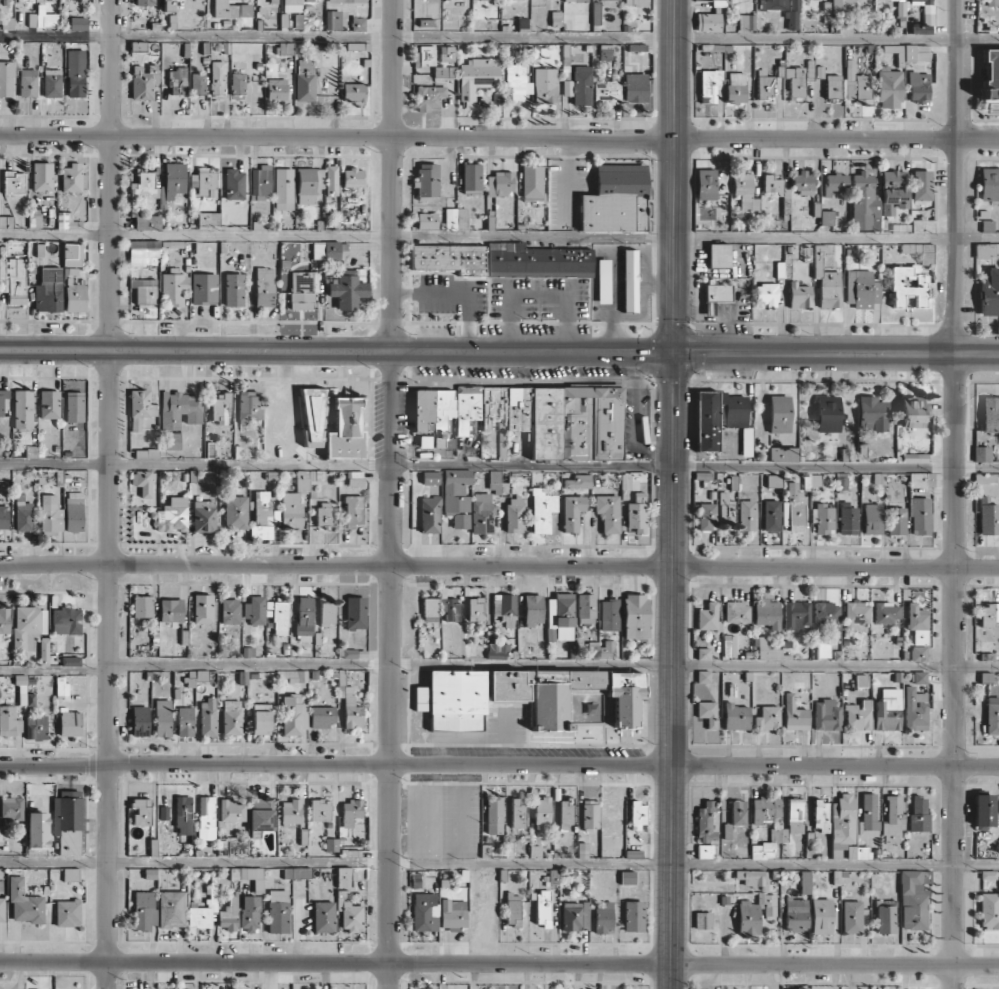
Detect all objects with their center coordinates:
building: (309, 0)
building: (575, 0)
building: (898, 0)
building: (24, 1)
building: (273, 1)
building: (346, 1)
building: (145, 2)
building: (636, 2)
building: (990, 2)
building: (772, 4)
building: (168, 5)
building: (291, 6)
building: (842, 6)
building: (225, 9)
building: (245, 10)
building: (595, 16)
building: (792, 16)
building: (924, 17)
building: (42, 18)
building: (332, 20)
building: (708, 22)
building: (746, 22)
building: (77, 23)
building: (357, 24)
road: (499, 36)
building: (285, 48)
building: (447, 53)
building: (909, 53)
building: (425, 56)
building: (75, 73)
building: (990, 73)
building: (477, 76)
building: (217, 77)
building: (7, 78)
building: (304, 80)
building: (143, 81)
building: (177, 81)
building: (517, 81)
building: (795, 82)
building: (28, 83)
building: (51, 83)
building: (197, 85)
building: (545, 85)
building: (709, 85)
building: (237, 86)
building: (764, 86)
building: (857, 86)
building: (918, 86)
building: (635, 87)
building: (736, 87)
building: (832, 88)
building: (276, 89)
building: (889, 89)
building: (353, 92)
building: (607, 92)
building: (428, 96)
road: (499, 137)
building: (42, 176)
road: (675, 176)
building: (352, 177)
building: (471, 177)
building: (71, 178)
building: (174, 180)
building: (331, 180)
building: (427, 181)
building: (13, 182)
building: (204, 182)
building: (261, 183)
building: (499, 183)
building: (531, 183)
building: (802, 183)
building: (835, 183)
building: (234, 184)
building: (308, 184)
building: (705, 184)
building: (989, 184)
building: (921, 185)
building: (145, 186)
building: (774, 187)
building: (283, 188)
building: (745, 193)
building: (615, 200)
building: (864, 203)
building: (825, 217)
building: (208, 219)
building: (455, 219)
building: (67, 221)
building: (426, 221)
building: (6, 222)
building: (147, 222)
building: (287, 222)
building: (987, 225)
building: (922, 226)
road: (499, 237)
building: (328, 250)
building: (986, 250)
building: (920, 252)
building: (136, 253)
building: (72, 255)
building: (719, 255)
building: (502, 260)
building: (629, 280)
building: (16, 281)
building: (603, 281)
building: (826, 281)
building: (3, 283)
building: (173, 287)
building: (264, 287)
building: (908, 287)
building: (204, 288)
building: (347, 289)
building: (862, 289)
building: (48, 290)
building: (144, 290)
building: (234, 290)
building: (302, 290)
building: (989, 292)
building: (767, 294)
building: (799, 295)
building: (75, 296)
building: (717, 296)
road: (336, 350)
road: (836, 350)
building: (3, 400)
building: (49, 404)
building: (74, 406)
building: (249, 406)
building: (140, 408)
building: (220, 408)
building: (466, 408)
building: (22, 409)
building: (180, 409)
building: (912, 412)
building: (433, 413)
building: (720, 413)
building: (779, 413)
building: (827, 414)
building: (871, 414)
building: (990, 414)
building: (312, 417)
building: (737, 417)
building: (557, 420)
building: (706, 421)
building: (345, 430)
building: (171, 441)
building: (424, 441)
building: (146, 453)
building: (981, 453)
building: (782, 454)
road: (499, 467)
building: (430, 478)
building: (984, 478)
building: (921, 479)
building: (307, 480)
building: (773, 480)
building: (811, 480)
building: (494, 481)
building: (578, 481)
building: (142, 482)
road: (110, 494)
road: (391, 494)
road: (955, 494)
building: (456, 496)
building: (725, 509)
building: (291, 510)
building: (542, 510)
building: (73, 511)
building: (353, 511)
building: (235, 512)
building: (572, 512)
building: (607, 512)
building: (324, 513)
building: (482, 513)
building: (514, 513)
building: (636, 513)
building: (24, 514)
building: (50, 515)
building: (430, 515)
building: (746, 515)
building: (771, 515)
building: (203, 516)
building: (706, 516)
building: (919, 516)
building: (3, 517)
building: (170, 517)
building: (264, 518)
building: (822, 519)
building: (847, 519)
building: (872, 519)
building: (989, 519)
building: (896, 521)
road: (673, 558)
road: (499, 565)
building: (142, 606)
building: (202, 608)
building: (504, 608)
building: (585, 608)
building: (430, 609)
building: (475, 609)
building: (532, 609)
building: (171, 610)
building: (254, 610)
building: (230, 611)
building: (355, 612)
building: (736, 612)
building: (886, 612)
building: (766, 613)
building: (858, 613)
building: (327, 614)
building: (609, 614)
building: (796, 614)
building: (827, 614)
building: (988, 614)
building: (560, 617)
building: (635, 617)
building: (708, 617)
building: (916, 617)
building: (304, 619)
building: (4, 620)
building: (66, 621)
building: (28, 626)
building: (729, 646)
building: (765, 649)
building: (498, 650)
building: (823, 650)
building: (44, 651)
building: (703, 653)
building: (918, 653)
building: (70, 661)
road: (554, 665)
road: (54, 670)
building: (201, 675)
building: (296, 676)
building: (703, 676)
building: (919, 677)
building: (861, 681)
building: (545, 692)
building: (625, 696)
building: (28, 699)
building: (452, 699)
building: (350, 708)
building: (914, 709)
building: (887, 710)
building: (707, 713)
building: (293, 715)
building: (794, 715)
building: (826, 715)
building: (992, 715)
building: (735, 716)
building: (857, 716)
building: (207, 717)
building: (231, 717)
building: (322, 717)
building: (162, 718)
building: (767, 718)
building: (261, 719)
building: (9, 720)
building: (139, 720)
building: (185, 721)
building: (70, 723)
building: (36, 727)
road: (499, 764)
building: (10, 810)
building: (231, 810)
building: (320, 810)
building: (351, 810)
building: (141, 811)
building: (766, 811)
building: (983, 811)
building: (291, 812)
building: (517, 812)
building: (738, 812)
building: (261, 814)
building: (542, 814)
building: (566, 814)
building: (589, 814)
building: (637, 814)
building: (893, 814)
building: (918, 814)
building: (183, 815)
building: (493, 815)
building: (821, 815)
building: (795, 816)
building: (868, 816)
building: (206, 818)
building: (67, 822)
building: (705, 823)
building: (37, 829)
building: (845, 829)
building: (778, 835)
building: (331, 845)
building: (232, 846)
building: (762, 849)
building: (704, 851)
road: (499, 866)
building: (70, 874)
road: (671, 876)
building: (250, 877)
building: (344, 877)
building: (627, 878)
building: (752, 878)
building: (805, 882)
building: (913, 899)
building: (24, 903)
building: (172, 908)
building: (542, 908)
building: (2, 909)
building: (512, 909)
building: (144, 910)
building: (204, 910)
building: (423, 910)
building: (989, 910)
building: (278, 911)
building: (349, 911)
building: (67, 913)
building: (249, 913)
building: (453, 913)
building: (755, 913)
building: (796, 913)
building: (228, 915)
building: (574, 915)
building: (323, 916)
building: (603, 916)
building: (633, 916)
building: (822, 916)
building: (852, 916)
building: (885, 917)
building: (702, 920)
road: (499, 962)
building: (981, 988)

